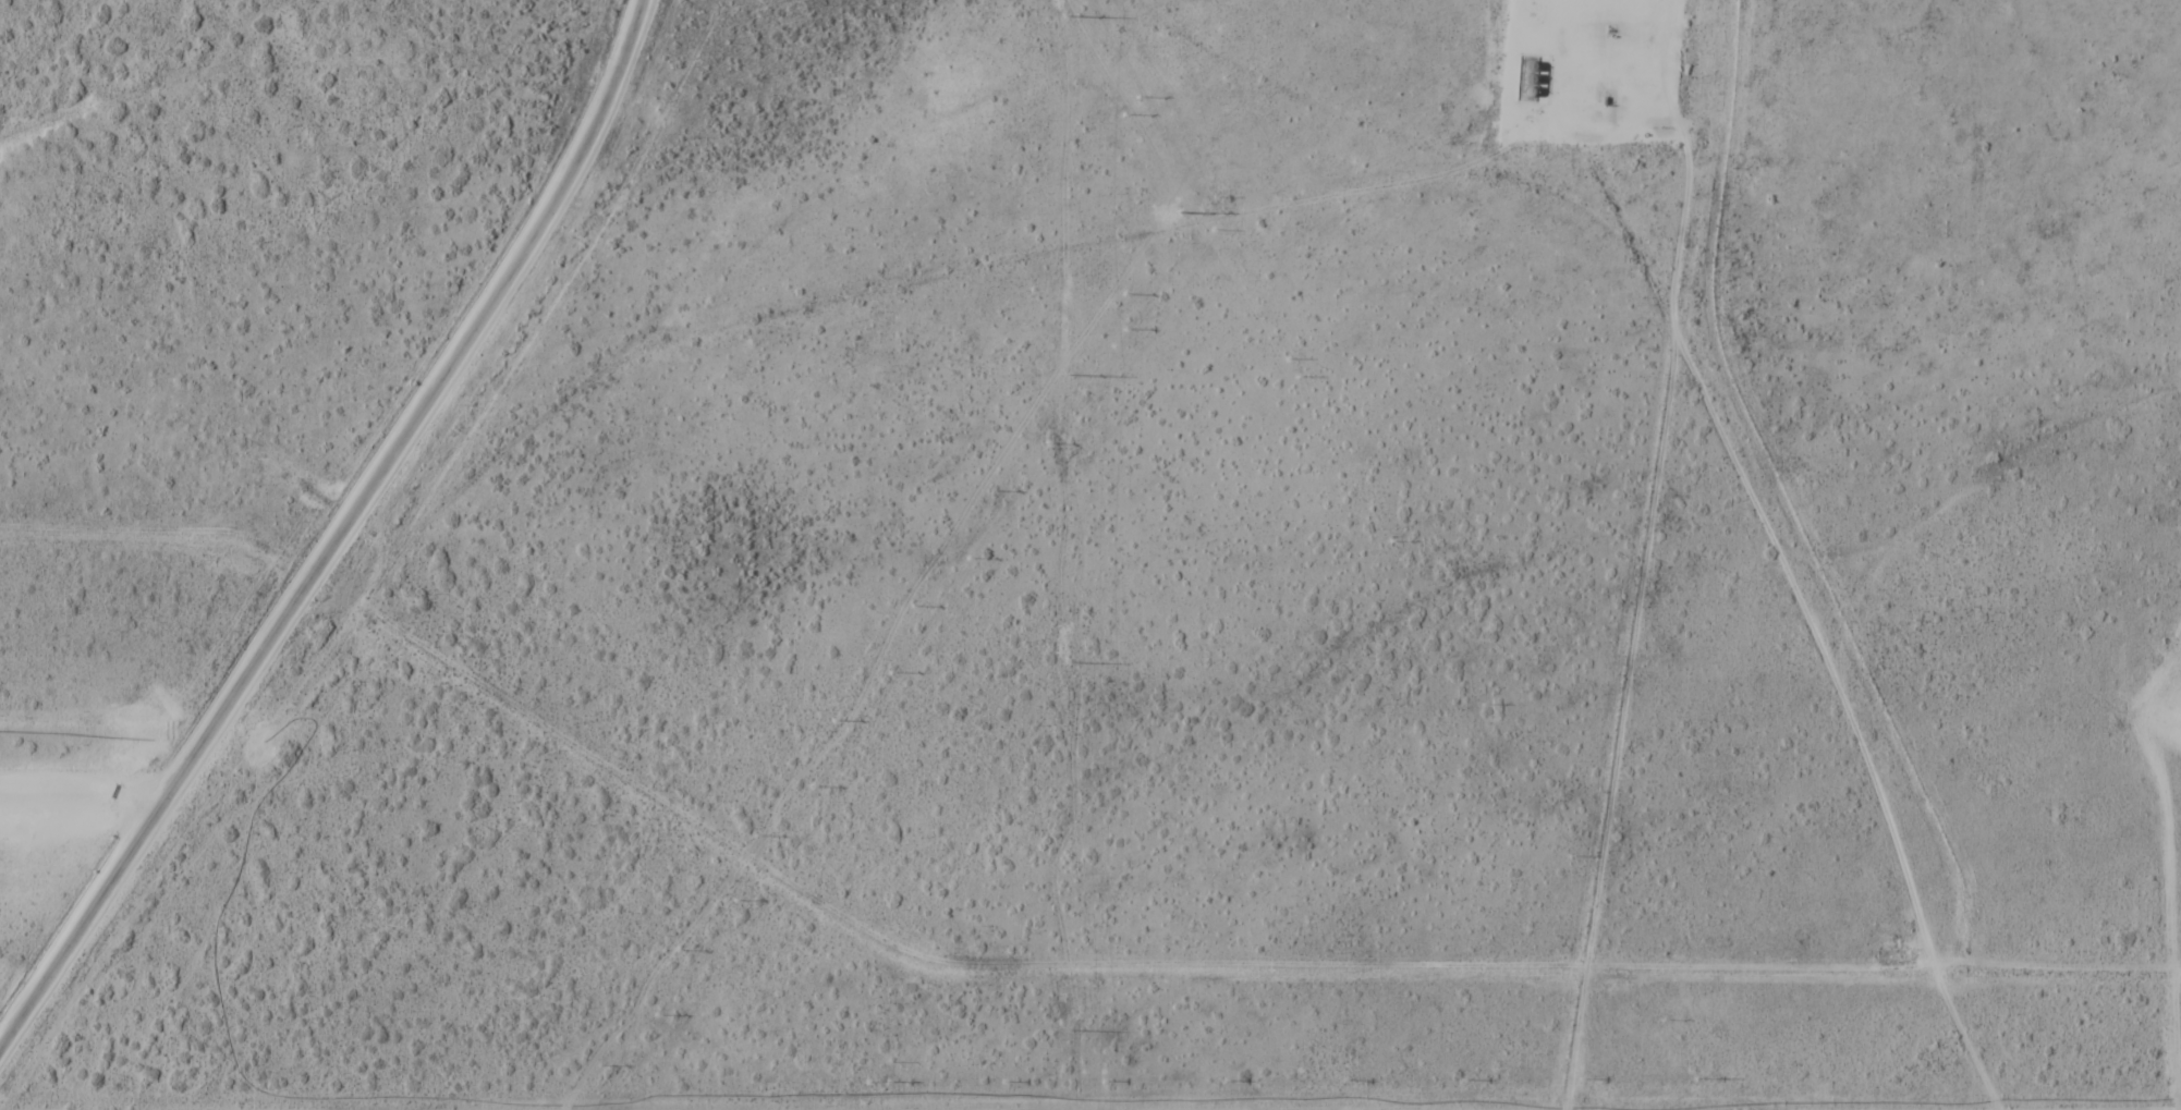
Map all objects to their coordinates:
road: (1618, 26)
road: (341, 546)
road: (2161, 668)
road: (95, 783)
road: (2172, 887)

